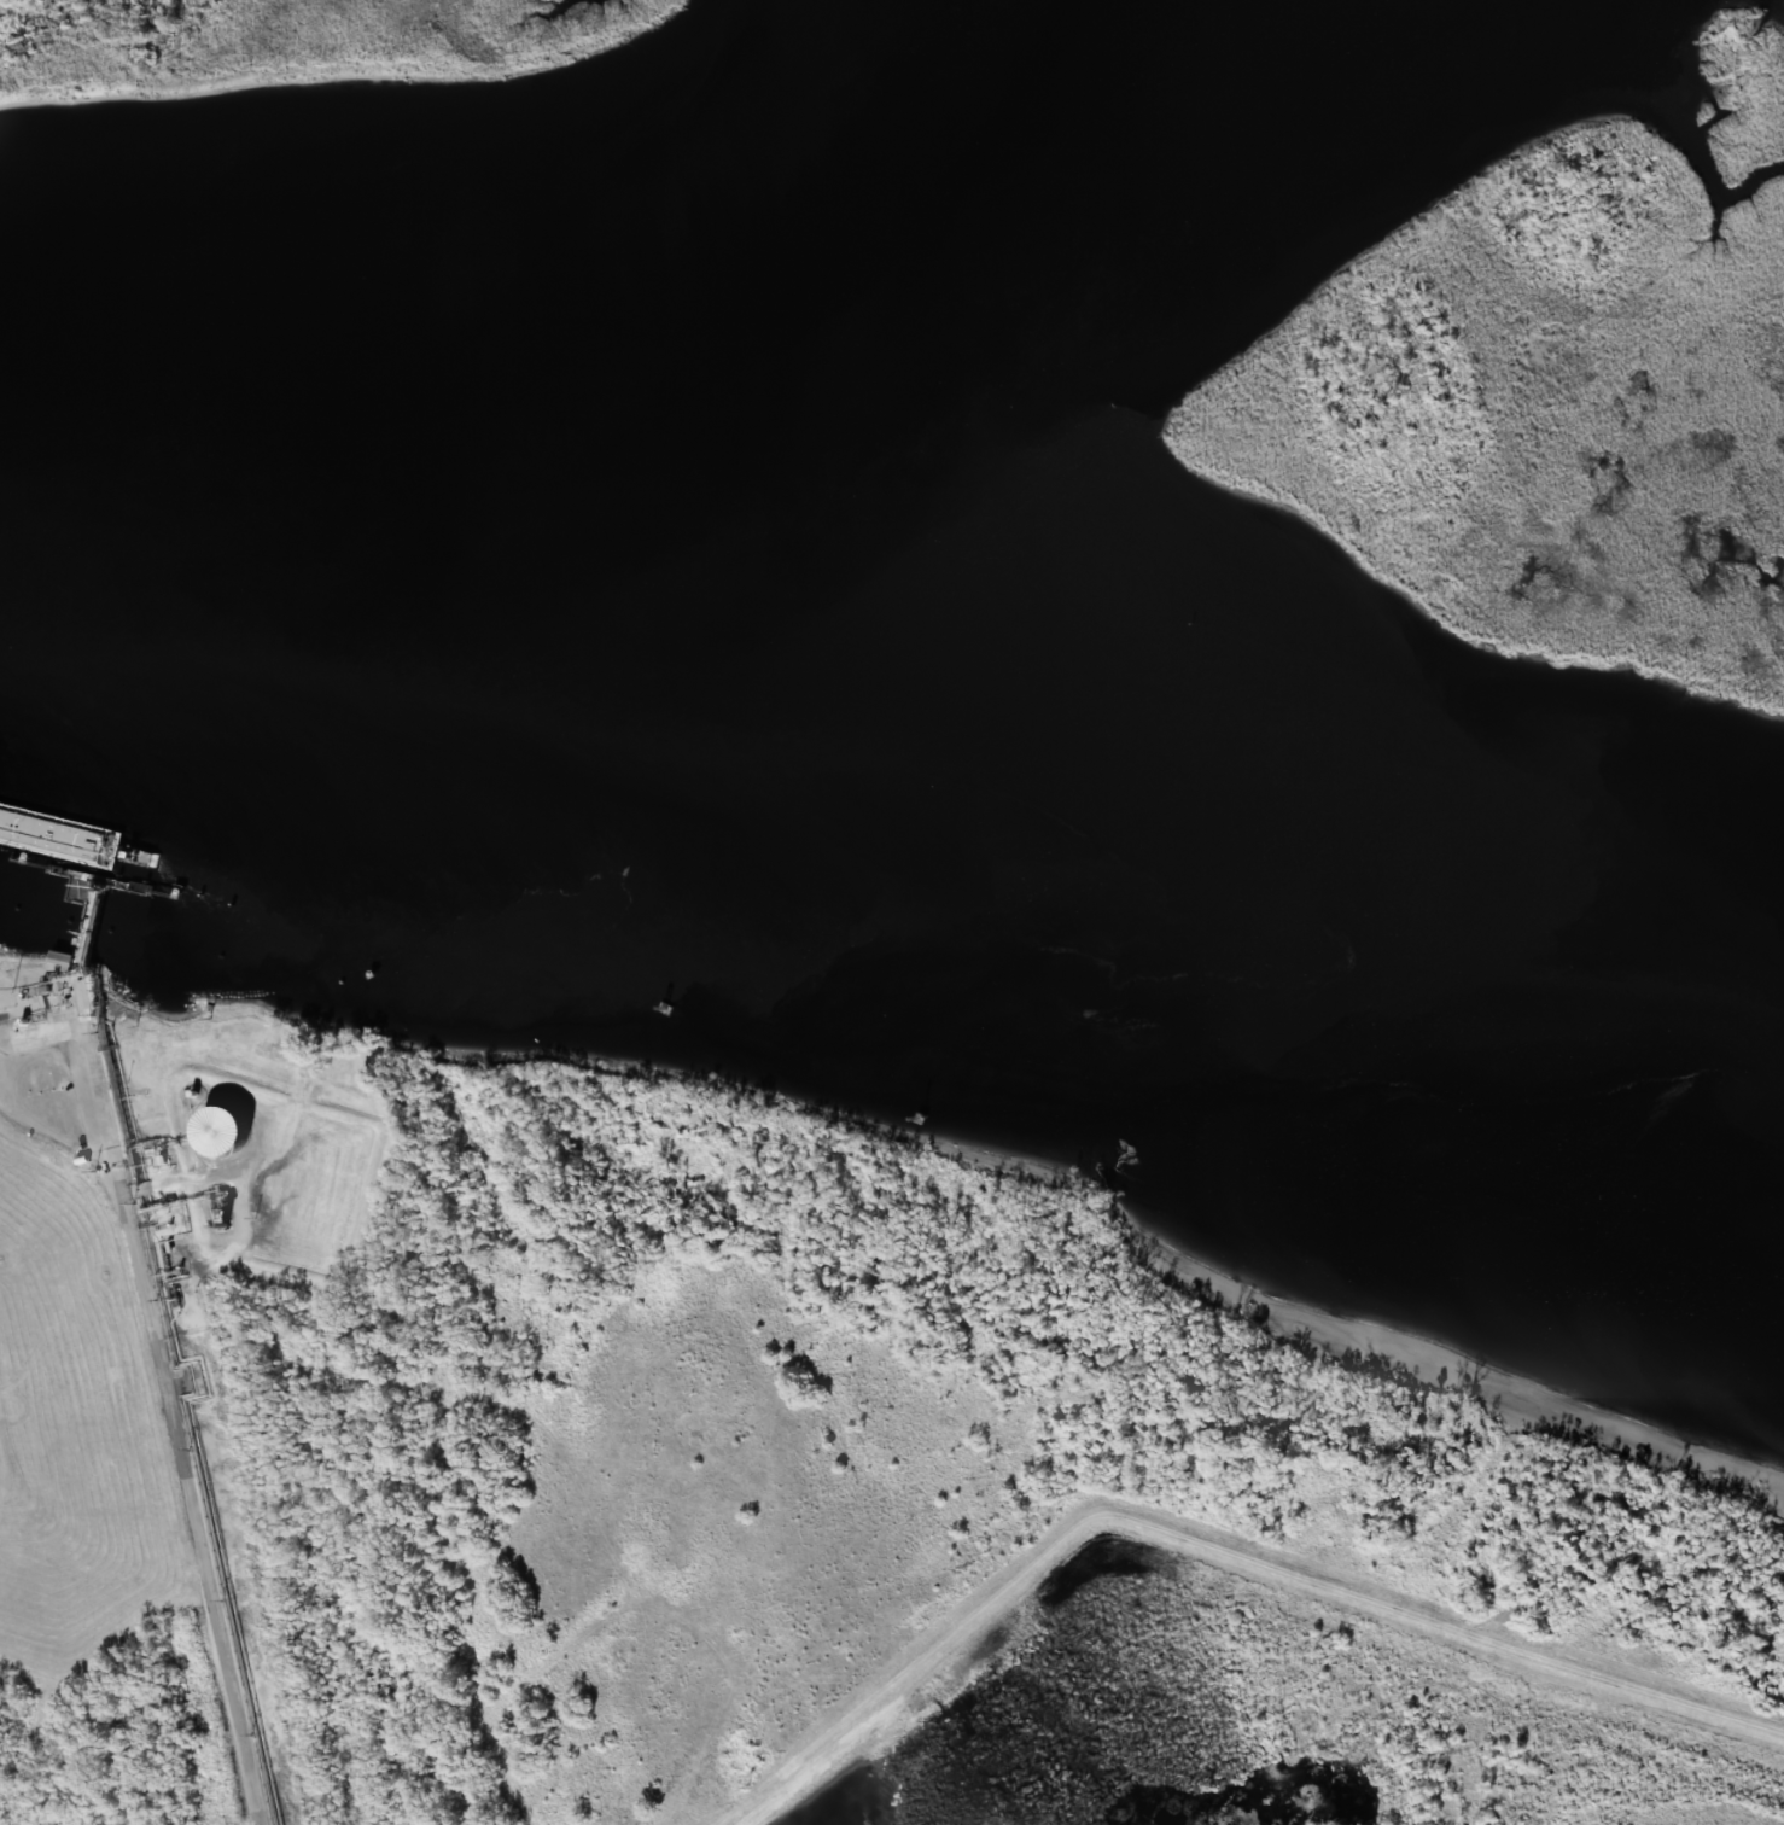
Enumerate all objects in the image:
river: (894, 769)
building: (223, 1131)
road: (175, 1413)

